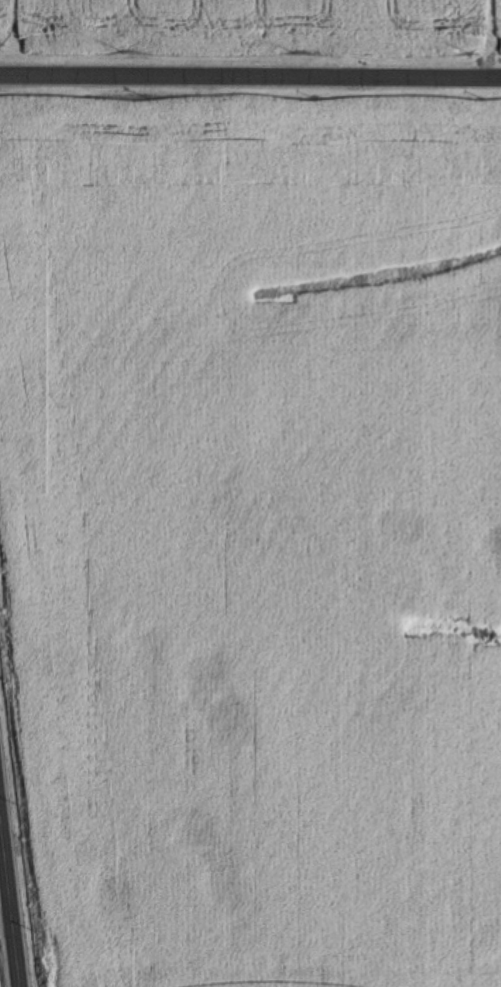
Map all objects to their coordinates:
road: (250, 68)
road: (8, 912)
road: (4, 917)

